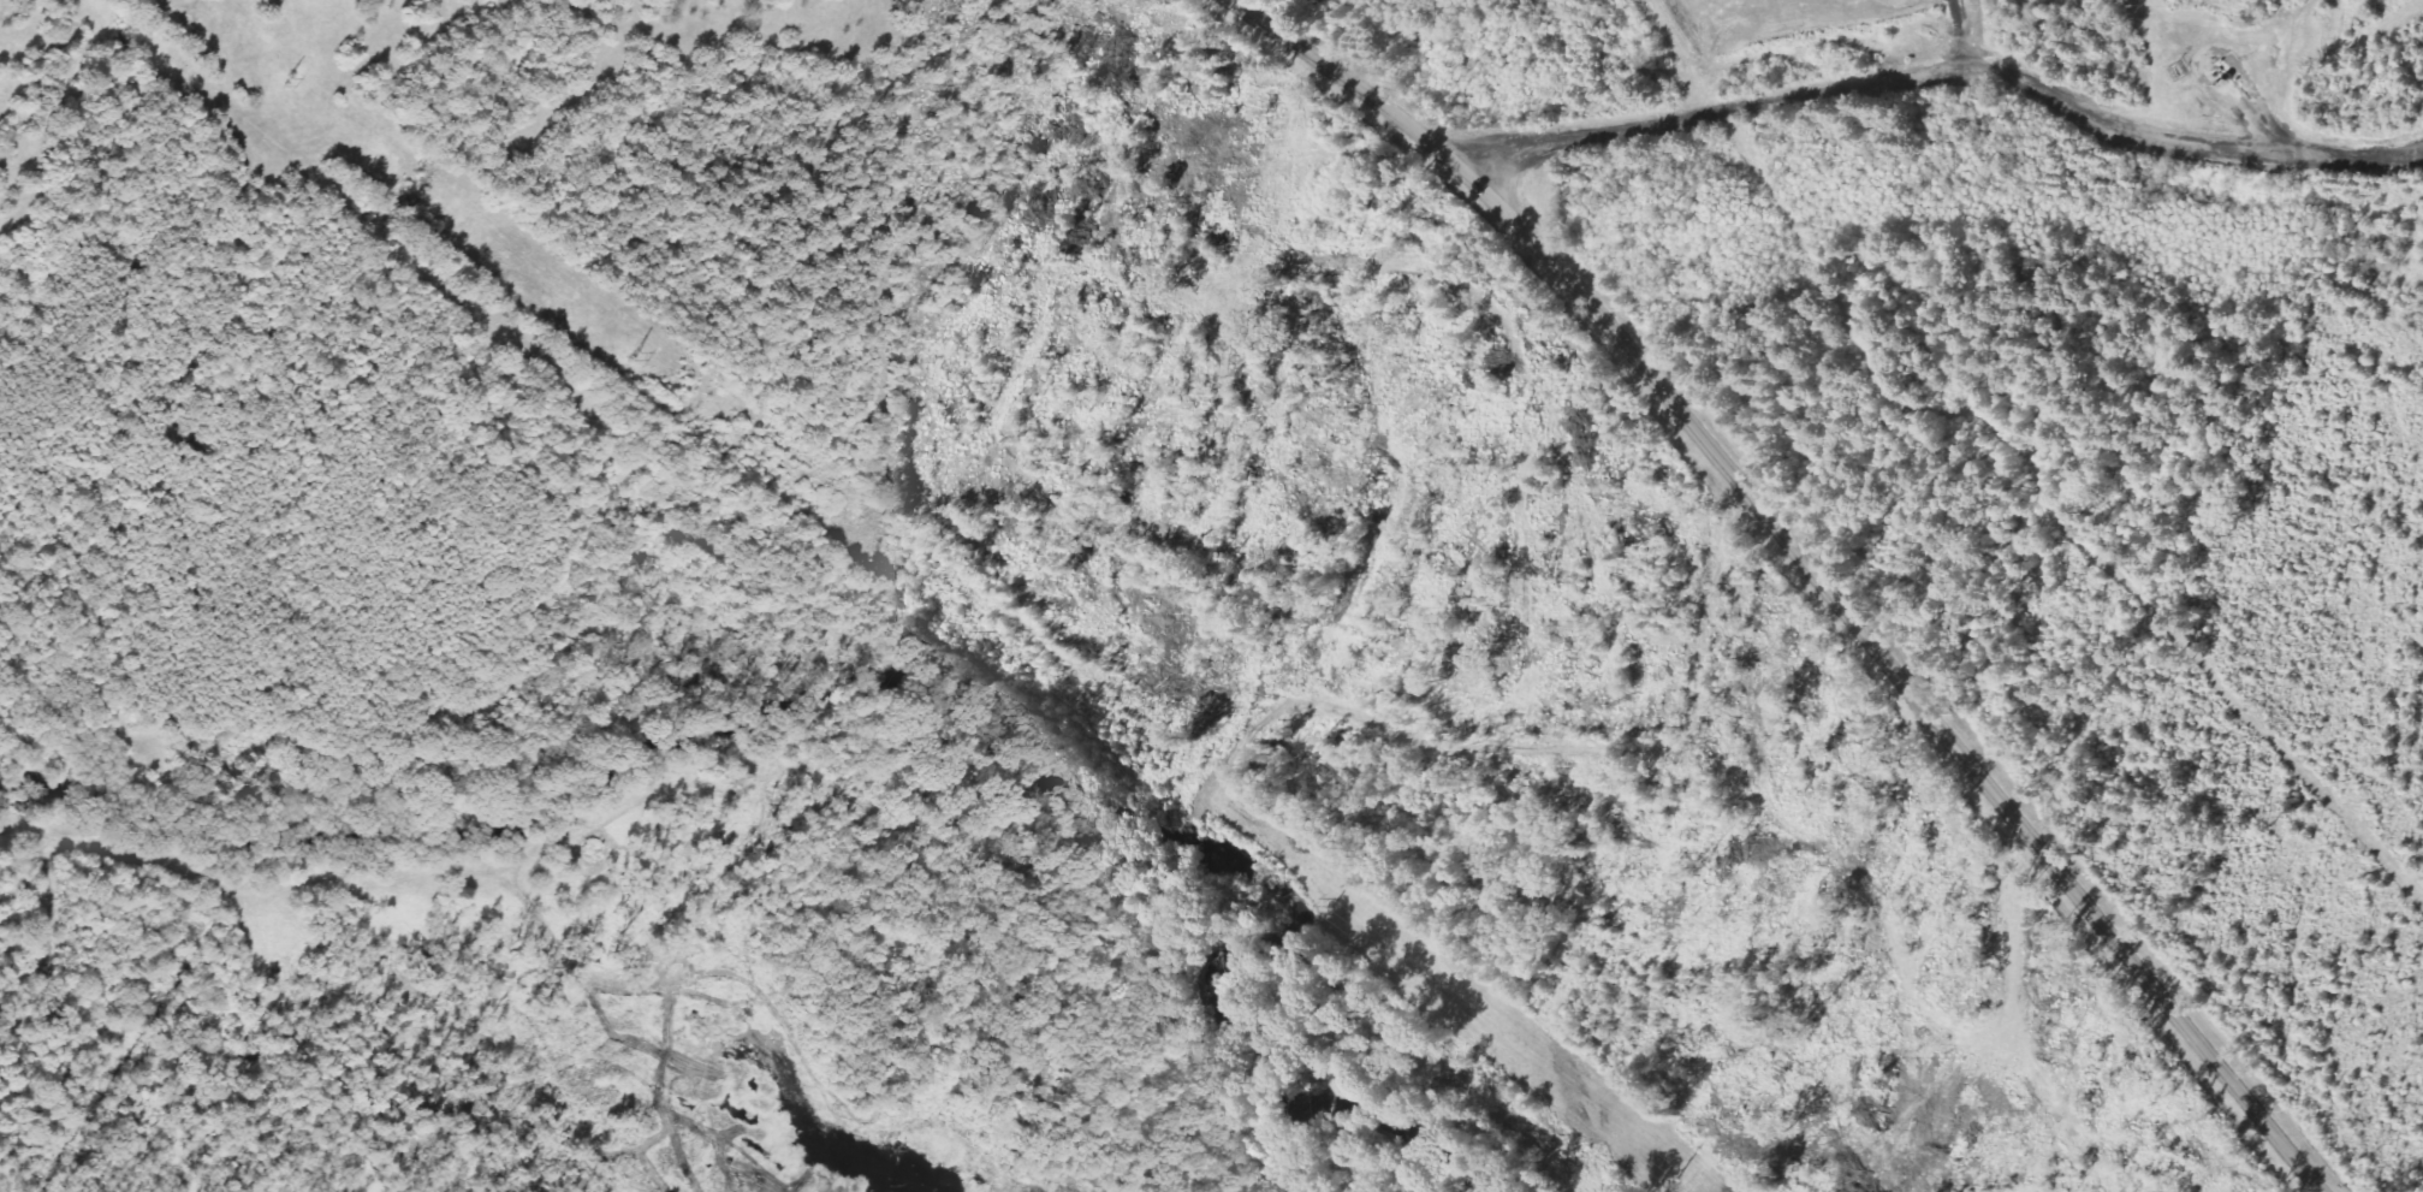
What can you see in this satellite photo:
road: (1942, 75)
power tower: (269, 79)
power tower: (629, 355)
road: (1803, 562)
power tower: (982, 634)
road: (1335, 706)
power tower: (1328, 902)
power tower: (1675, 1174)

